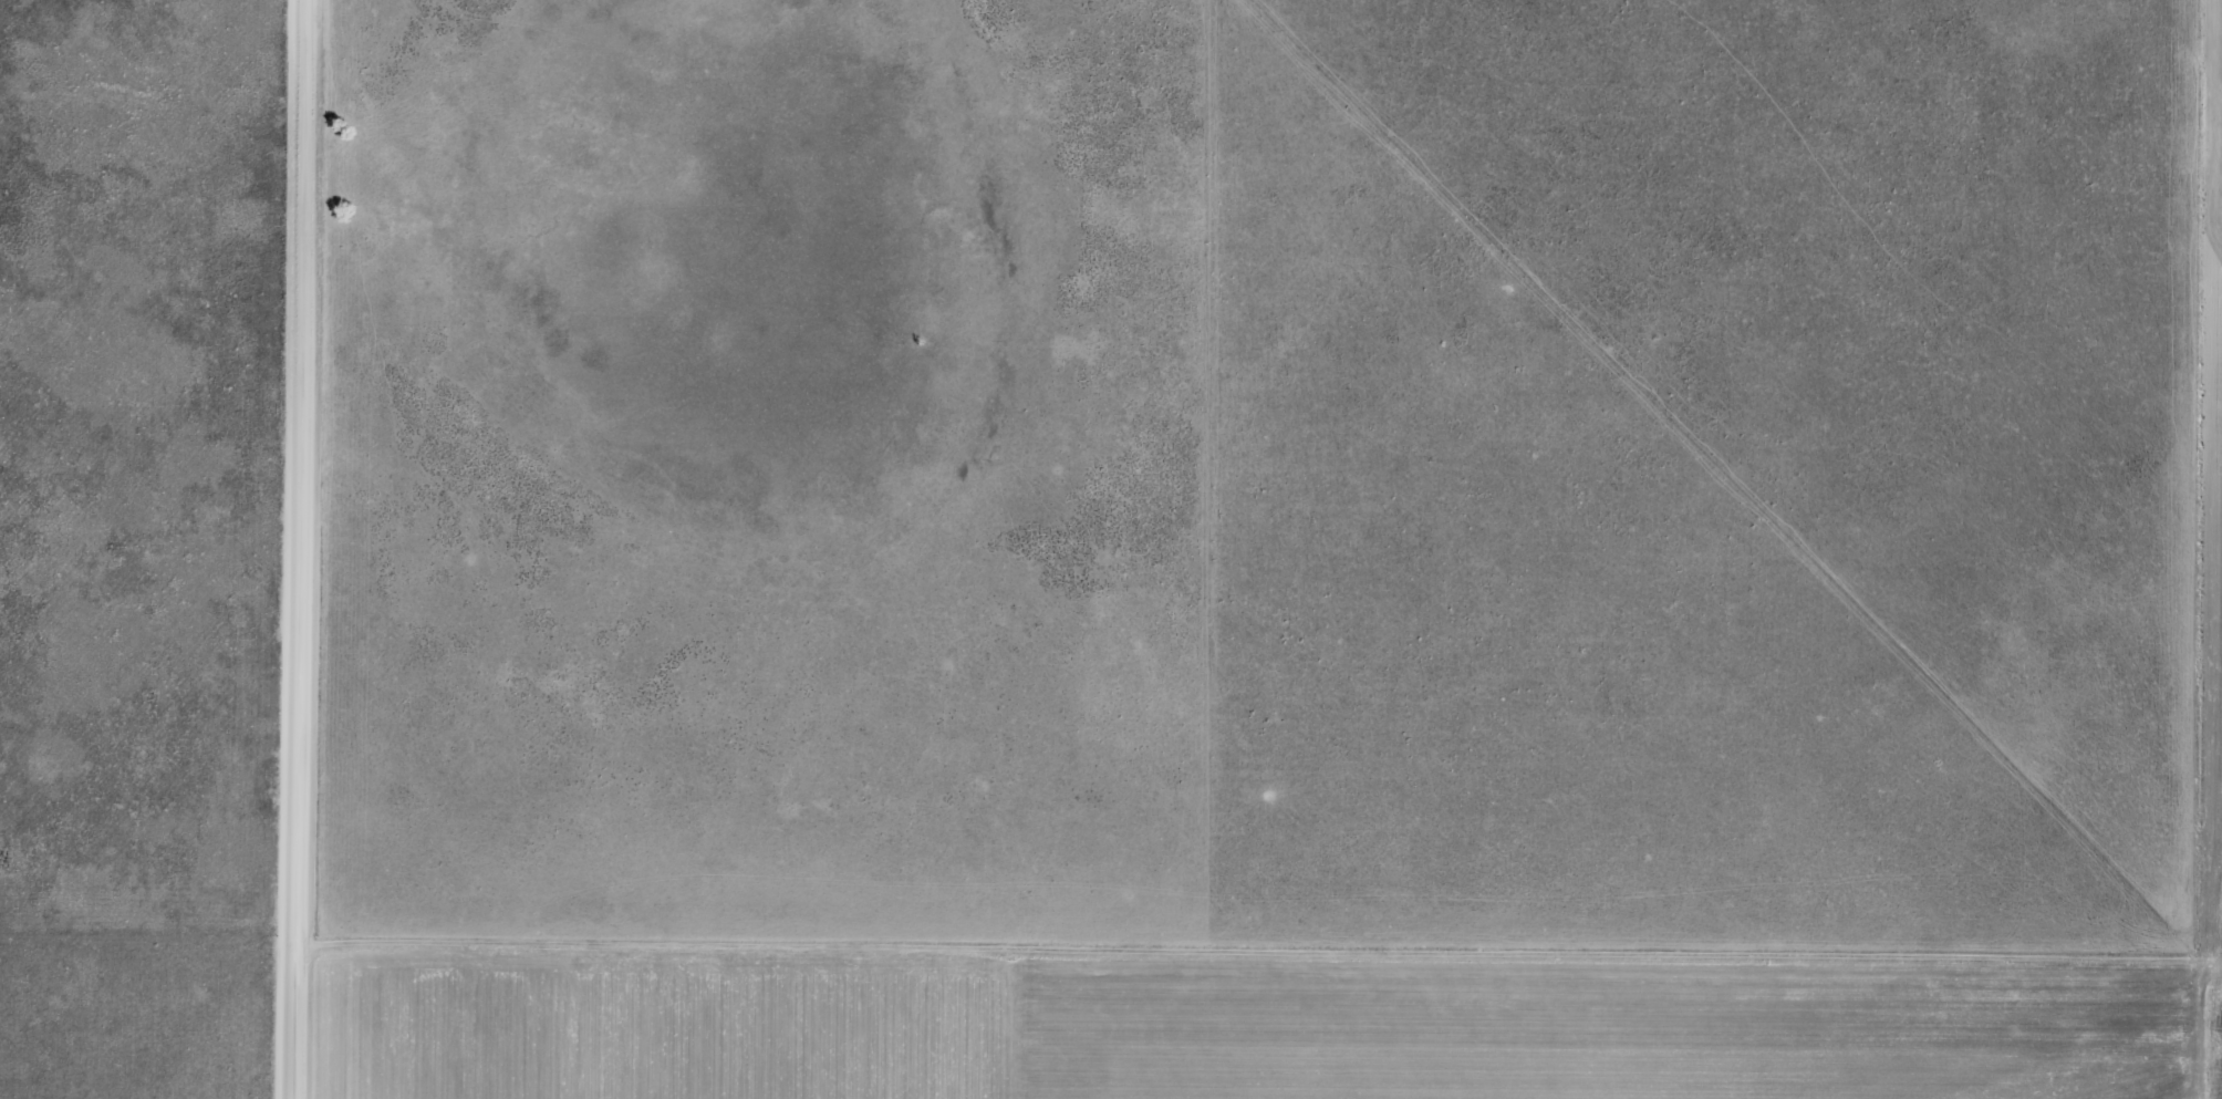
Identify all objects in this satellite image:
road: (340, 549)
road: (1167, 942)

